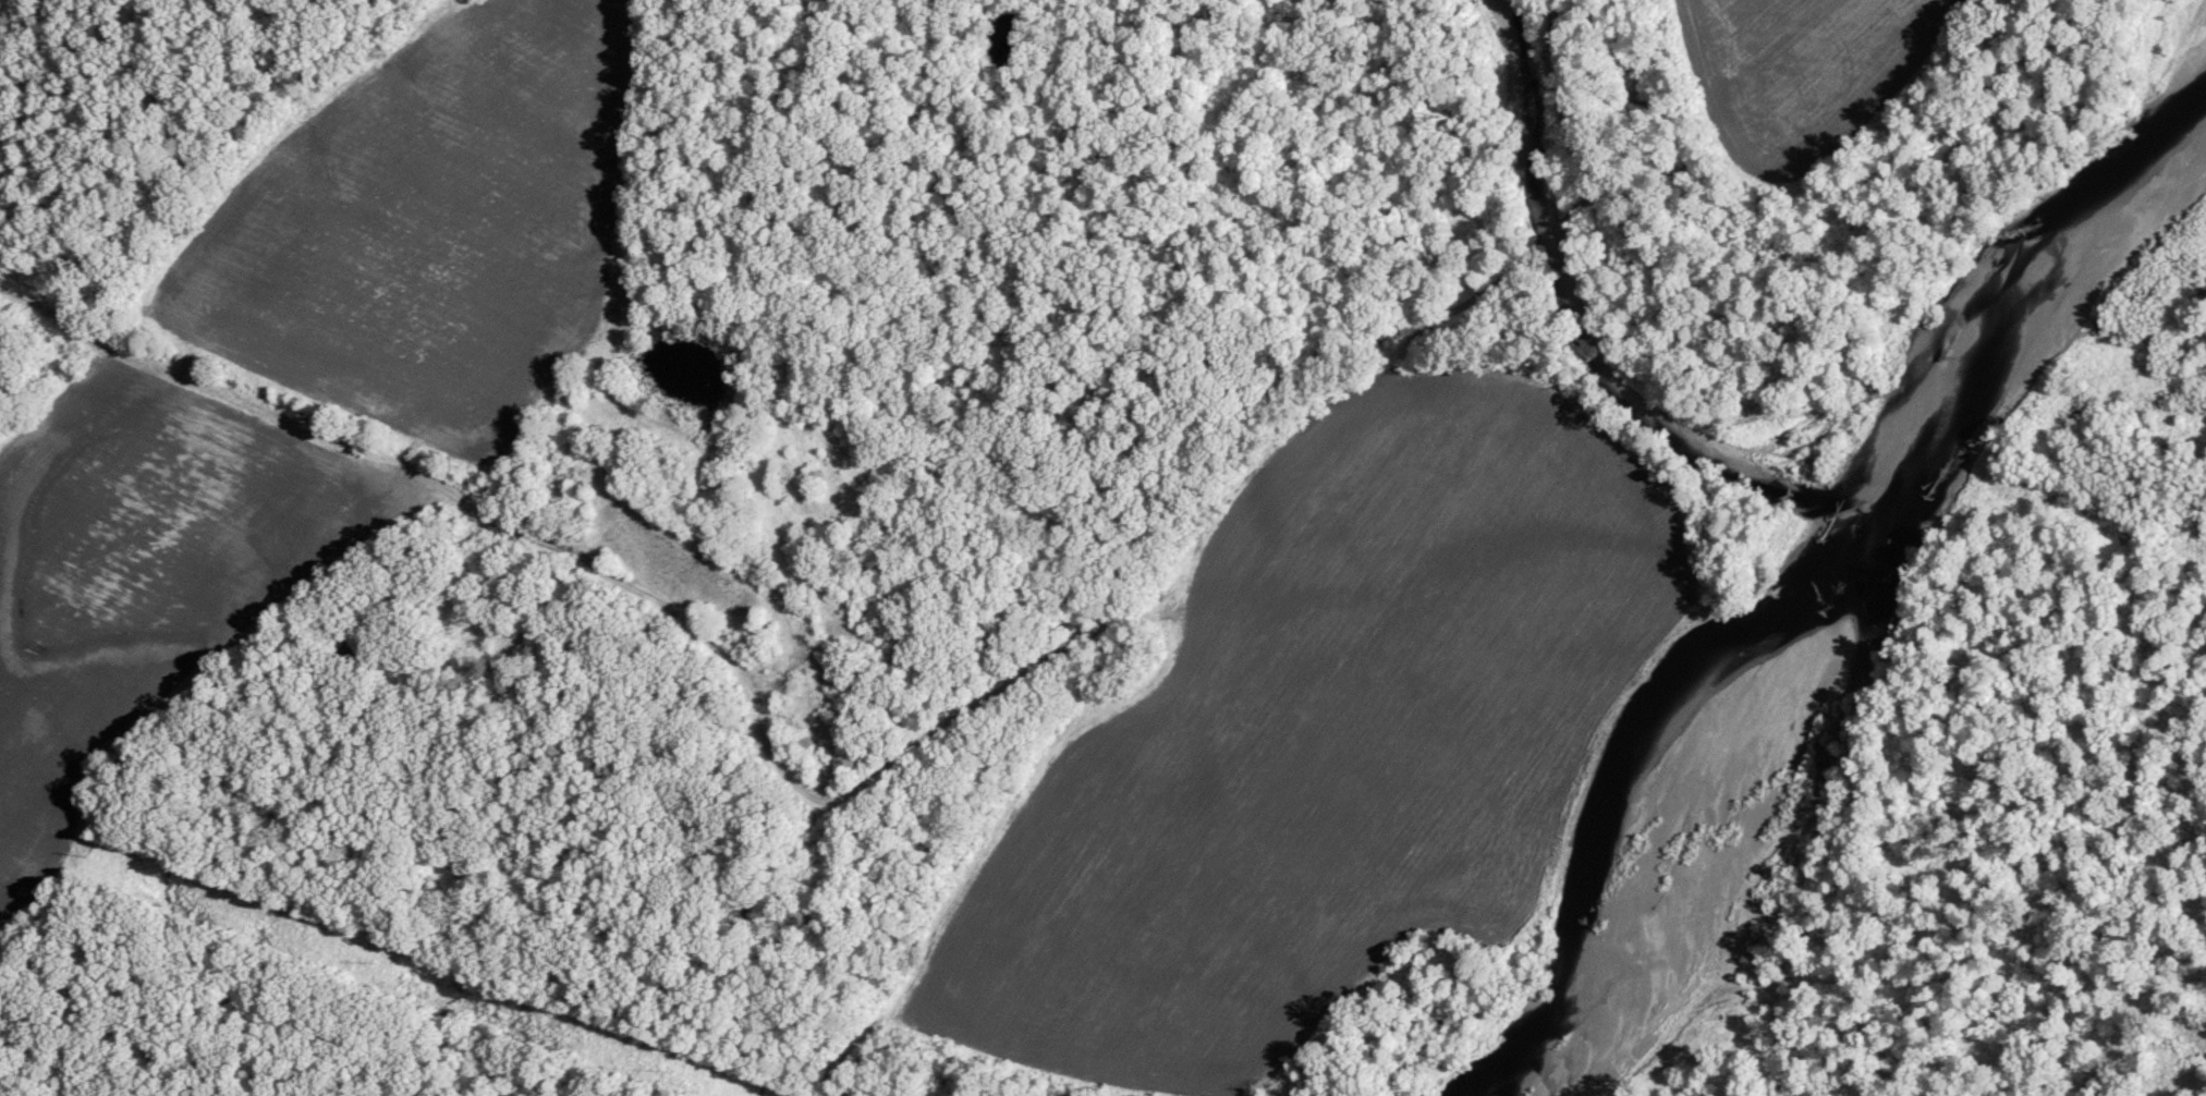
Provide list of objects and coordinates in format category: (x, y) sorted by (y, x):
road: (1580, 138)
river: (1586, 330)
building: (722, 488)
river: (1860, 667)
road: (970, 721)

